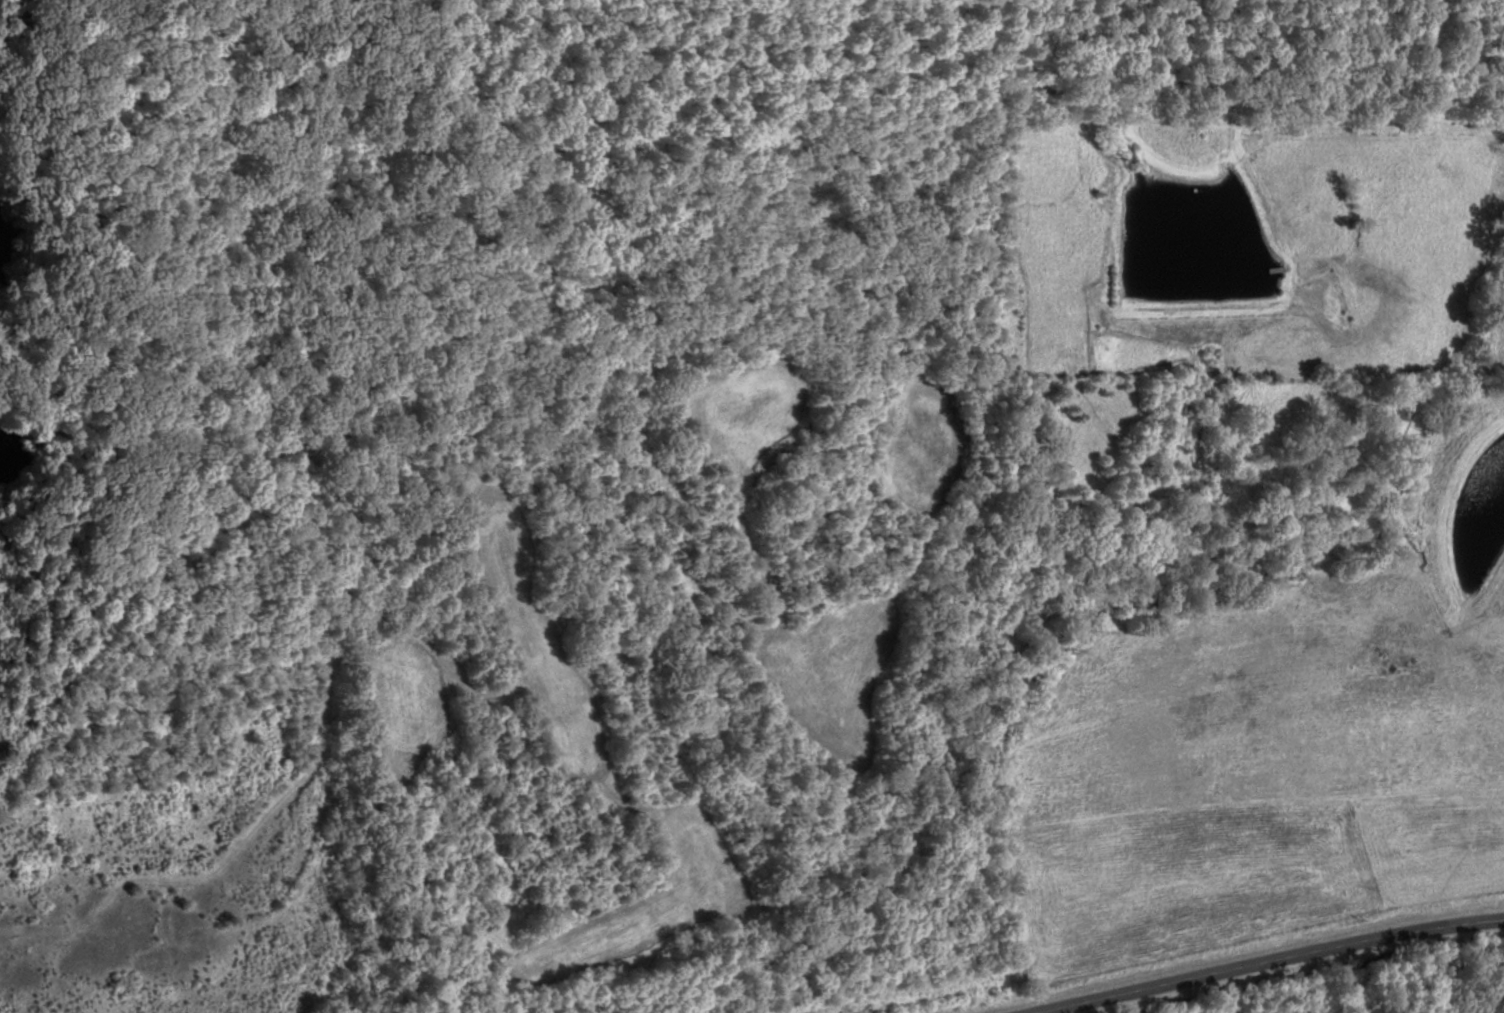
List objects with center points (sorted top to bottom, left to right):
dam: (1, 636)
road: (1264, 960)

